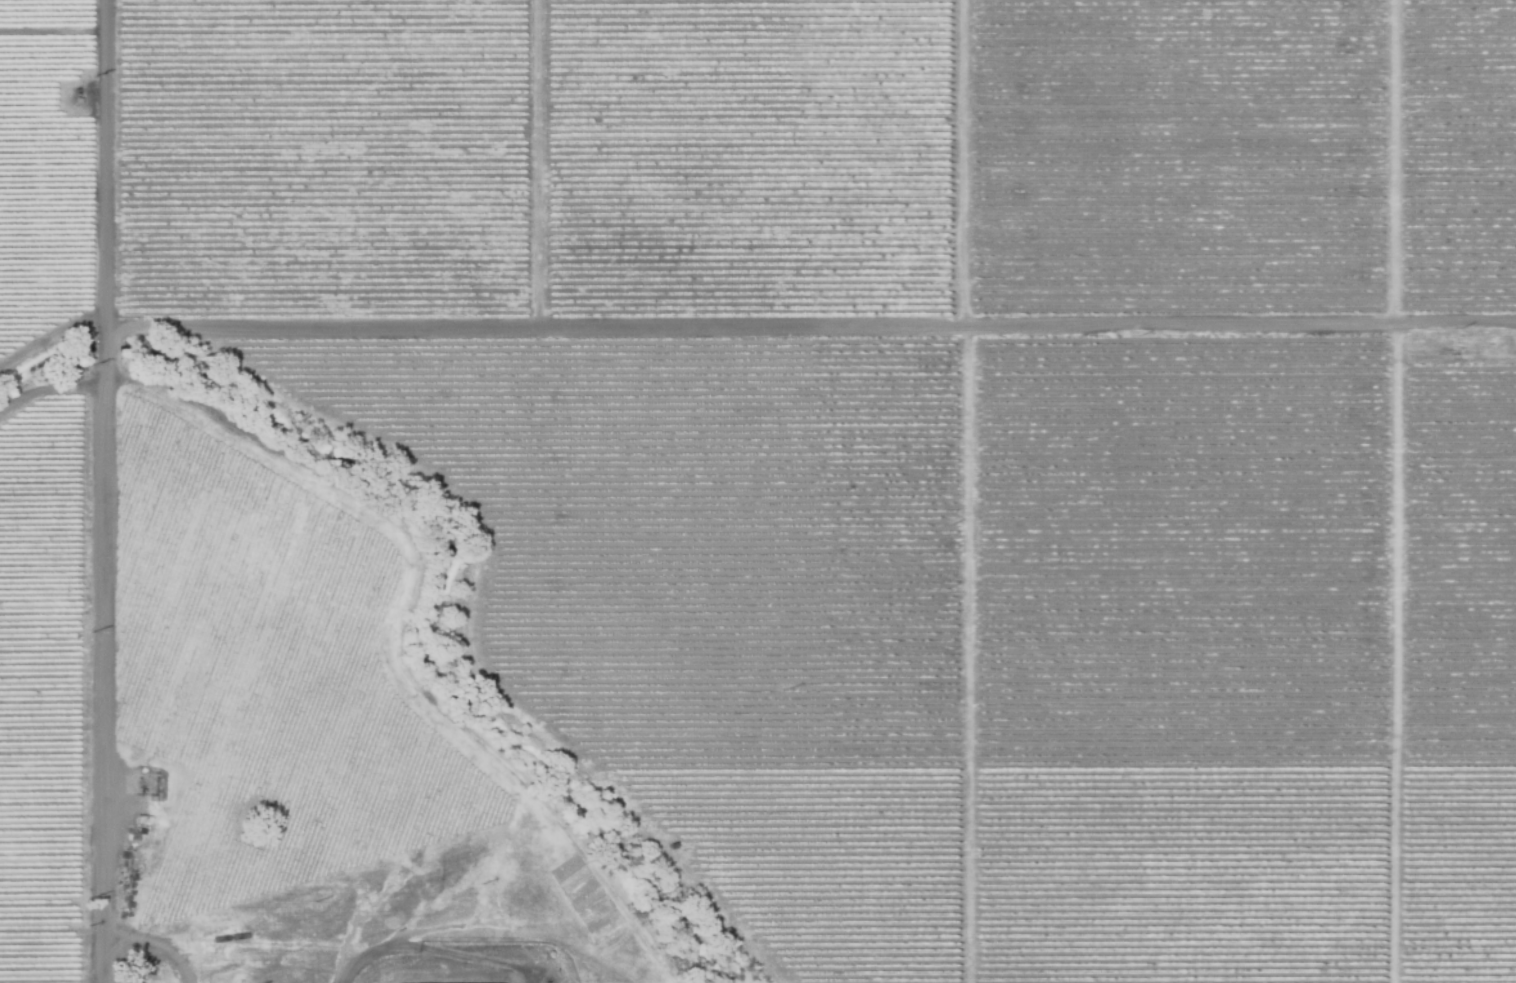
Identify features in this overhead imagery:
building: (74, 101)
road: (812, 319)
road: (49, 389)
road: (107, 491)
road: (460, 639)
building: (605, 951)

